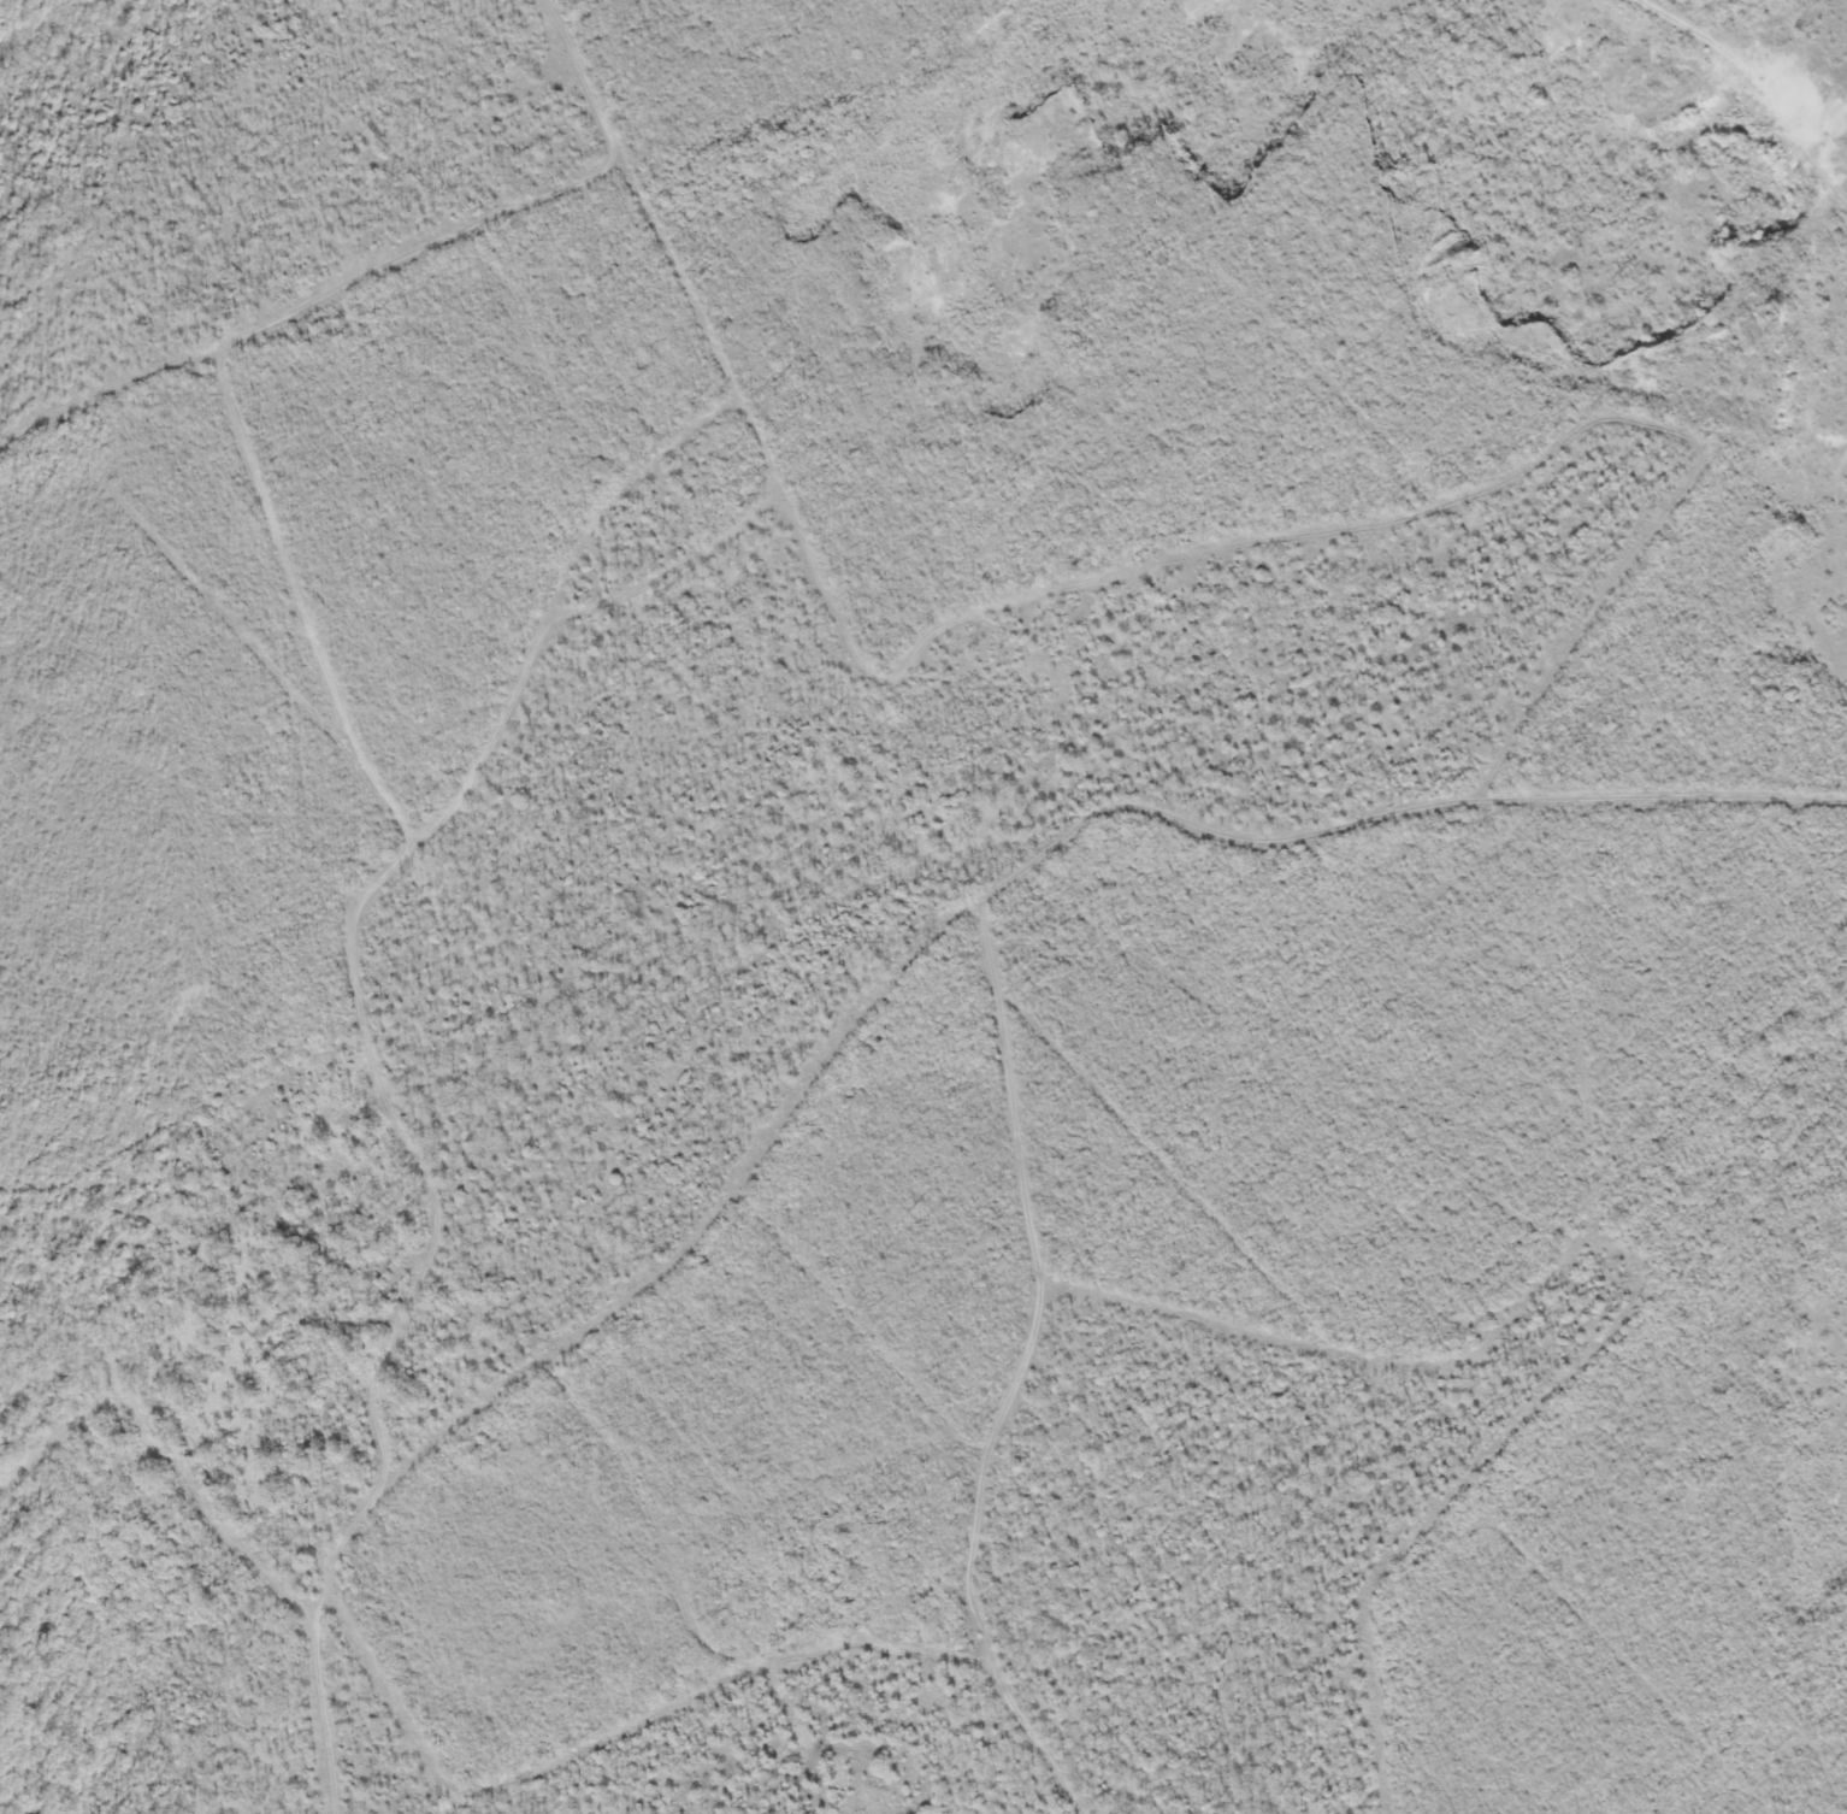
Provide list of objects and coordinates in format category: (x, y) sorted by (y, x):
road: (933, 896)
road: (161, 1237)

